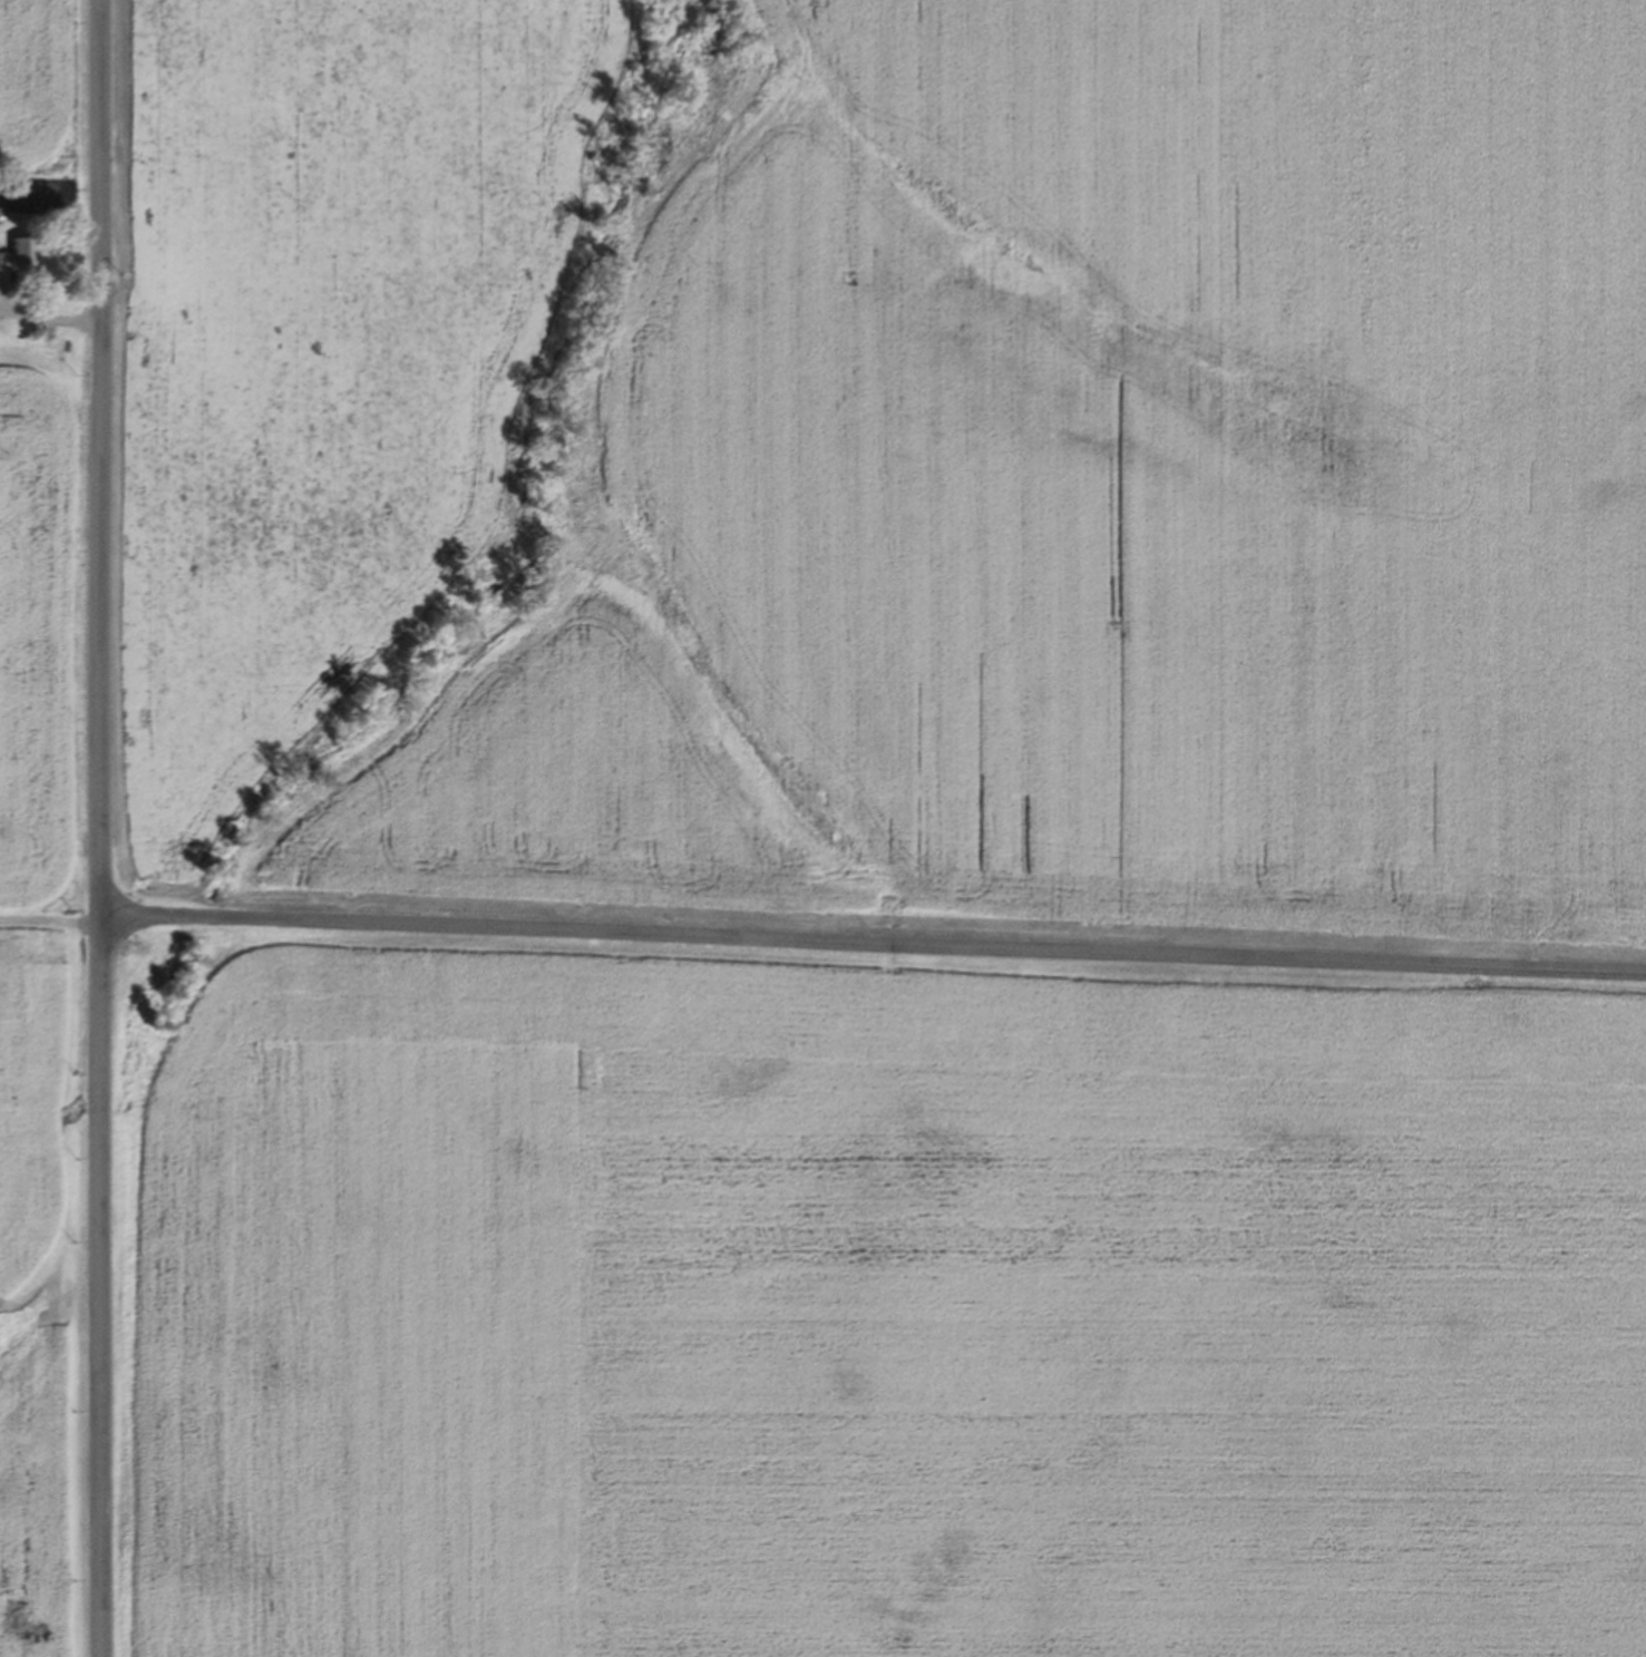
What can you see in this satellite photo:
building: (21, 253)
road: (99, 828)
road: (873, 937)

